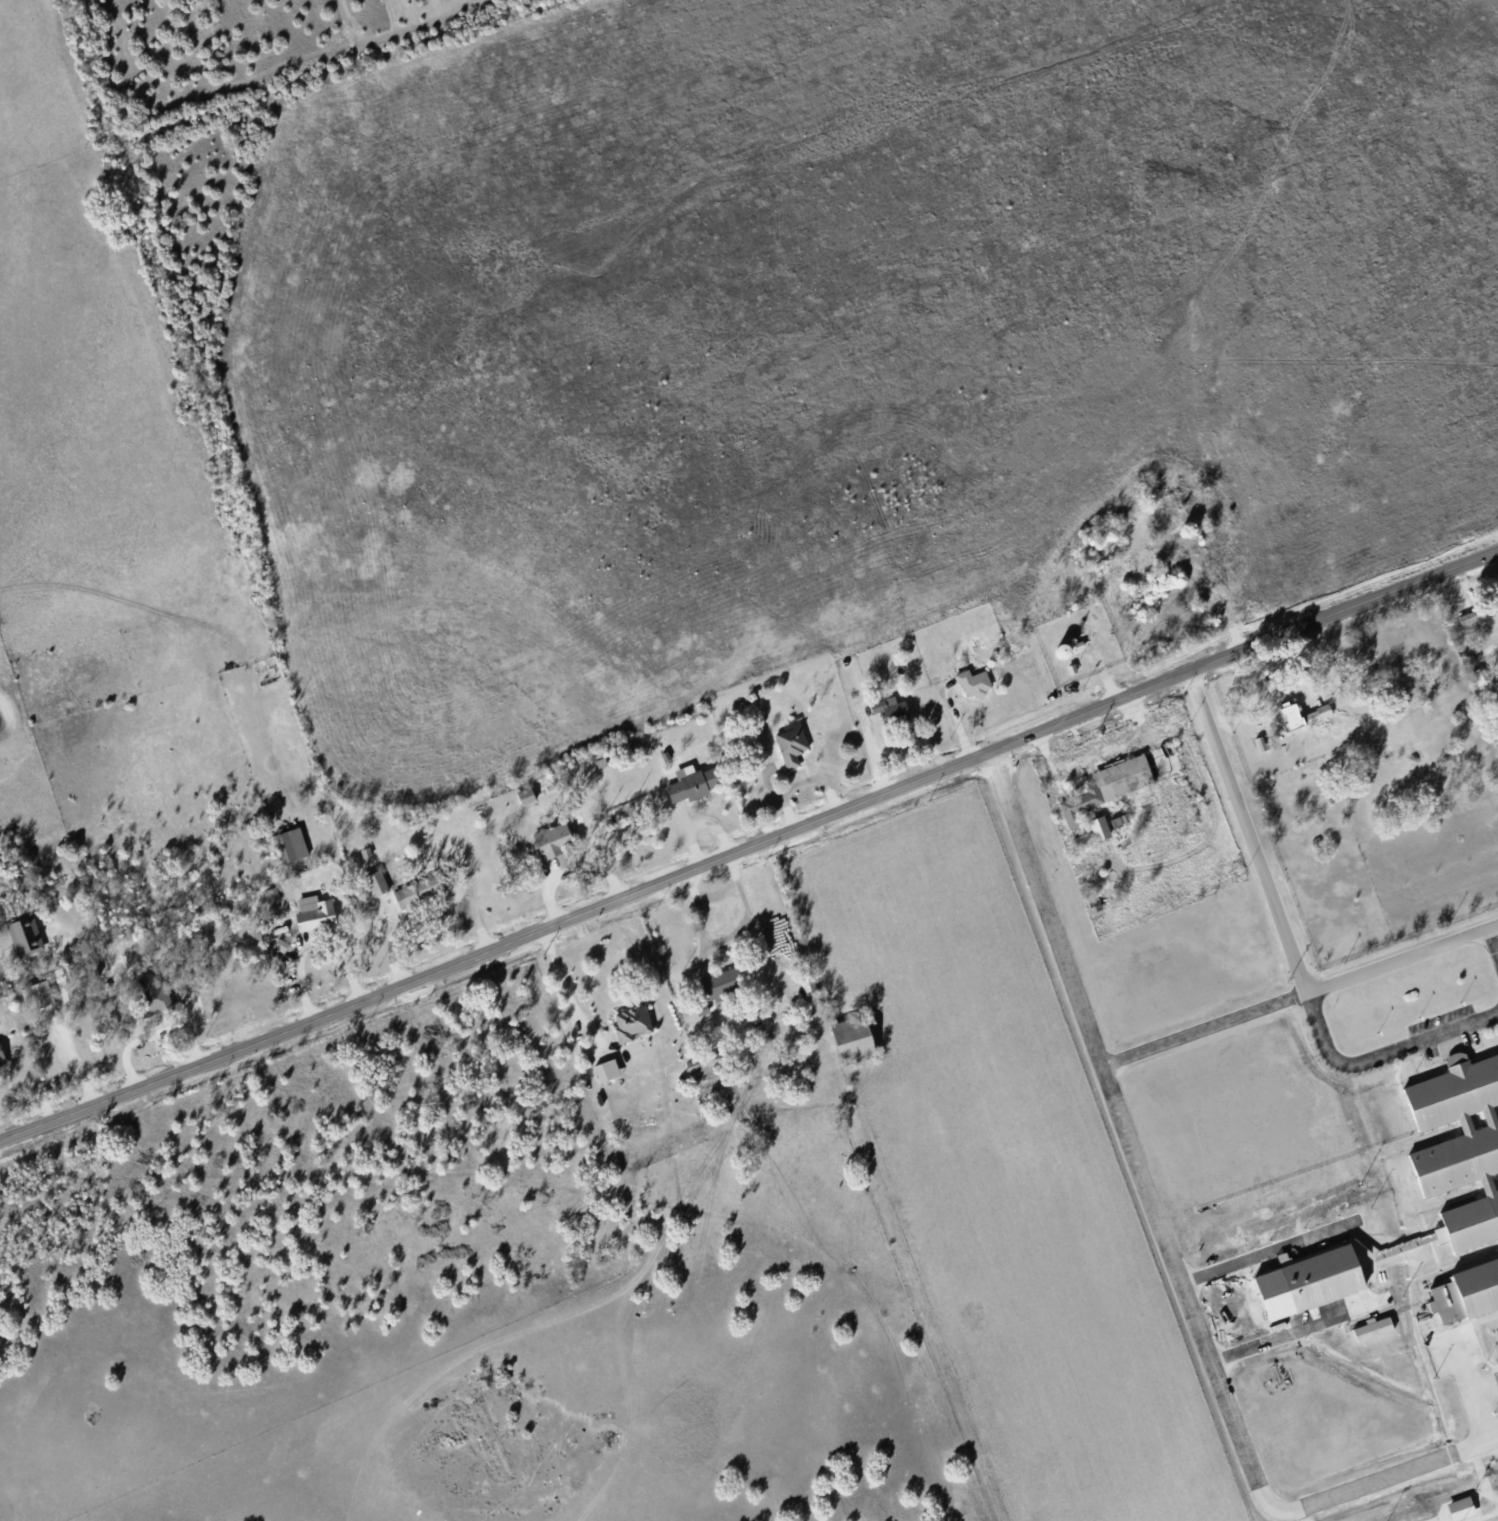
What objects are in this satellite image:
road: (1468, 595)
building: (1476, 617)
road: (1491, 645)
building: (1494, 667)
building: (1481, 681)
building: (975, 682)
building: (1475, 691)
building: (892, 708)
building: (1304, 714)
building: (1287, 723)
building: (793, 743)
building: (1262, 743)
road: (799, 781)
building: (694, 782)
road: (766, 782)
building: (1103, 792)
building: (527, 795)
building: (1101, 828)
building: (552, 839)
building: (291, 844)
road: (750, 847)
building: (378, 883)
building: (422, 889)
building: (315, 912)
road: (1282, 928)
building: (25, 935)
road: (726, 939)
road: (1493, 942)
building: (281, 944)
building: (725, 981)
road: (561, 982)
building: (812, 991)
building: (39, 993)
building: (155, 996)
road: (1081, 1010)
building: (634, 1022)
building: (857, 1035)
road: (1383, 1053)
building: (2, 1056)
road: (79, 1059)
building: (708, 1065)
building: (608, 1070)
road: (27, 1081)
road: (41, 1100)
building: (1497, 1122)
building: (1456, 1154)
road: (1267, 1253)
building: (1310, 1287)
building: (1465, 1298)
road: (1293, 1333)
building: (1368, 1336)
road: (1236, 1426)
road: (1493, 1437)
building: (1464, 1507)

